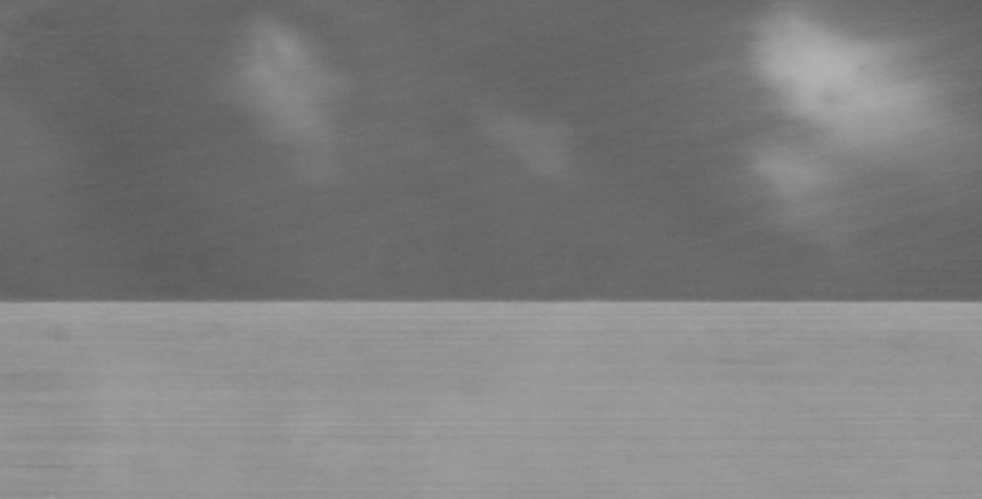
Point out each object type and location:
crop: (491, 249)

